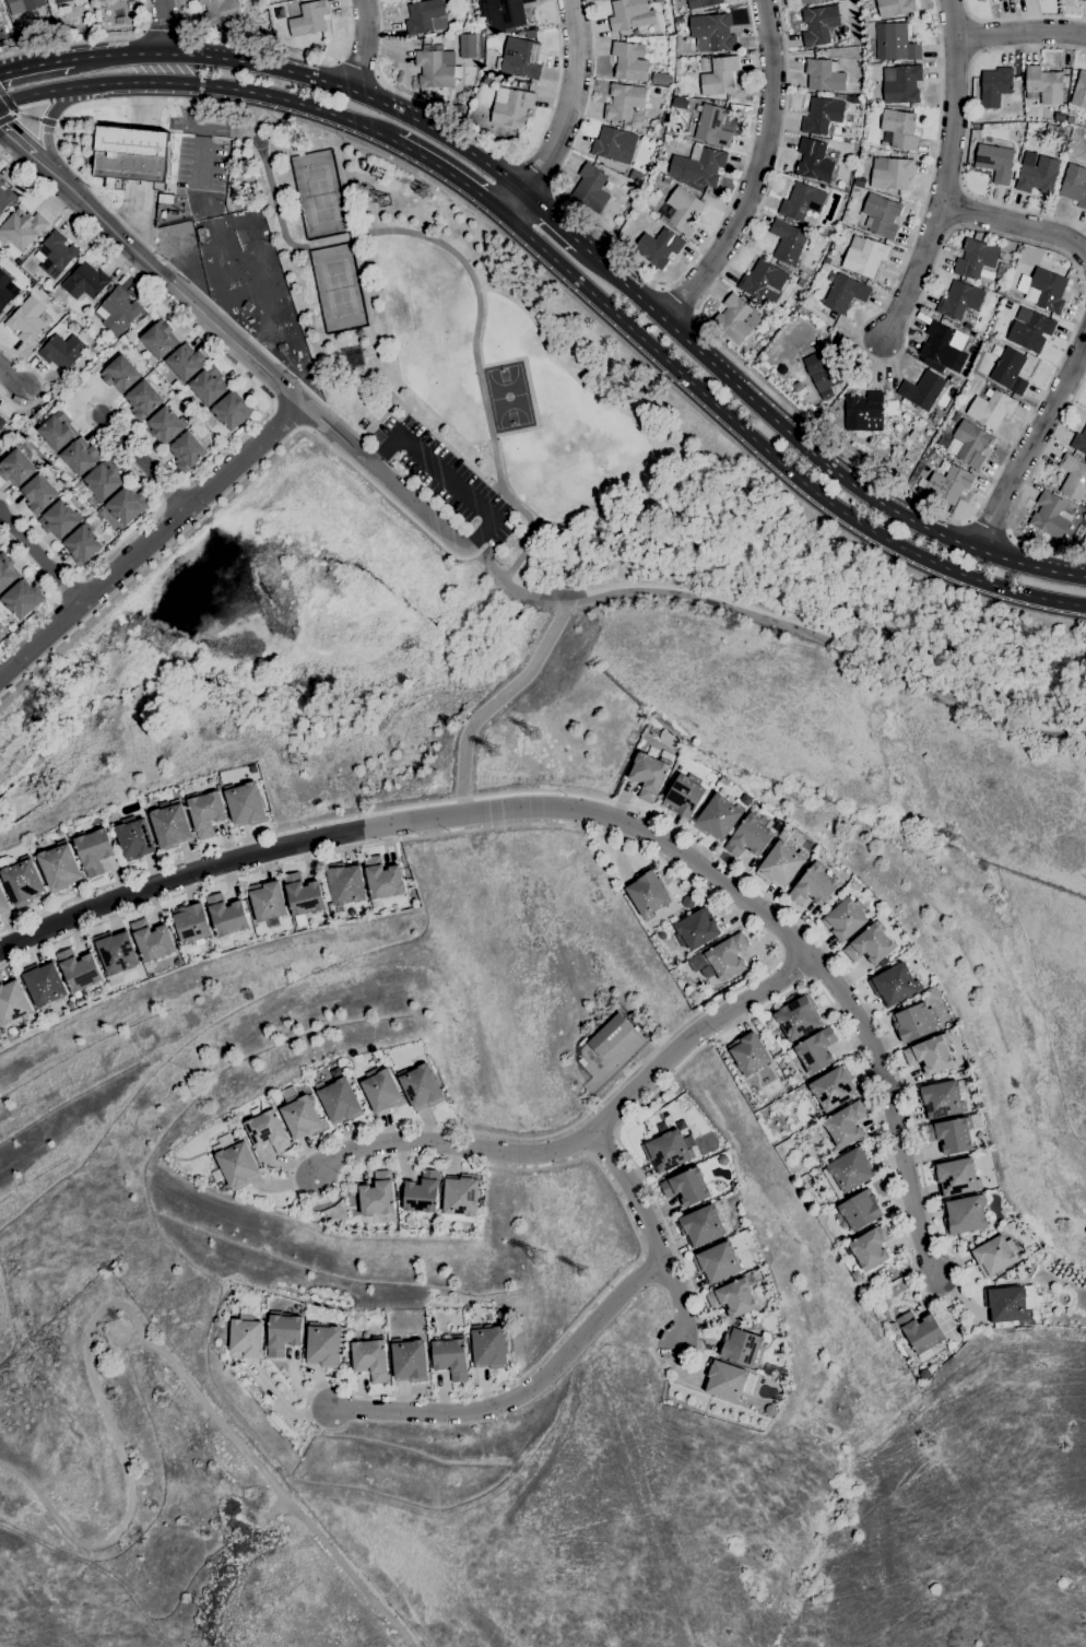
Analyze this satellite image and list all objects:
building: (972, 0)
building: (995, 0)
building: (999, 0)
building: (58, 1)
building: (658, 1)
building: (808, 1)
building: (1085, 1)
building: (23, 4)
building: (700, 4)
building: (894, 7)
building: (718, 11)
building: (220, 12)
building: (505, 12)
building: (629, 14)
building: (425, 16)
building: (0, 19)
building: (308, 19)
building: (864, 19)
road: (1019, 19)
building: (678, 20)
building: (818, 24)
road: (161, 26)
road: (163, 31)
building: (712, 33)
road: (1022, 35)
road: (86, 39)
building: (10, 40)
building: (895, 43)
road: (368, 46)
building: (467, 46)
building: (315, 48)
road: (275, 51)
building: (520, 58)
building: (869, 60)
building: (629, 61)
road: (35, 63)
road: (153, 68)
building: (436, 68)
building: (718, 75)
building: (823, 75)
road: (312, 79)
building: (658, 79)
building: (487, 81)
building: (900, 84)
road: (200, 85)
building: (1044, 85)
building: (994, 86)
building: (676, 91)
building: (1079, 91)
building: (839, 96)
building: (852, 99)
building: (623, 102)
building: (678, 103)
building: (719, 103)
road: (143, 106)
road: (960, 106)
building: (457, 107)
building: (510, 107)
road: (189, 110)
building: (822, 115)
road: (568, 117)
building: (1059, 117)
building: (1070, 119)
flagpole: (64, 122)
building: (711, 125)
road: (45, 127)
building: (899, 129)
road: (327, 130)
building: (1057, 130)
road: (967, 131)
road: (487, 144)
building: (614, 145)
building: (130, 154)
road: (198, 161)
building: (813, 161)
building: (994, 162)
building: (698, 166)
road: (756, 172)
building: (889, 173)
building: (1036, 174)
road: (534, 175)
building: (635, 175)
road: (449, 178)
building: (859, 181)
building: (672, 185)
building: (1074, 185)
building: (590, 188)
power tower: (424, 191)
park: (318, 193)
building: (5, 196)
power tower: (383, 201)
building: (801, 202)
building: (683, 211)
road: (133, 212)
building: (881, 215)
road: (552, 220)
road: (1016, 227)
building: (22, 228)
building: (202, 235)
building: (978, 235)
building: (787, 242)
building: (658, 247)
building: (1017, 249)
building: (55, 254)
building: (1020, 255)
building: (863, 256)
building: (975, 258)
building: (827, 259)
building: (17, 261)
road: (463, 263)
road: (920, 280)
building: (85, 282)
building: (730, 282)
road: (648, 283)
building: (763, 283)
building: (800, 283)
park: (338, 287)
building: (5, 290)
building: (1000, 290)
building: (1042, 290)
building: (810, 292)
building: (843, 294)
building: (959, 299)
road: (676, 303)
building: (1006, 304)
building: (246, 306)
building: (118, 309)
building: (0, 311)
building: (735, 318)
road: (180, 319)
building: (26, 320)
park: (406, 321)
building: (967, 326)
building: (1030, 329)
road: (234, 337)
building: (158, 339)
building: (990, 339)
building: (942, 344)
building: (281, 346)
building: (96, 348)
building: (61, 351)
building: (186, 362)
building: (942, 370)
building: (1010, 370)
building: (825, 372)
building: (120, 374)
road: (10, 378)
building: (358, 383)
road: (38, 385)
building: (208, 385)
building: (921, 390)
park: (507, 396)
building: (143, 400)
road: (1039, 400)
building: (990, 408)
building: (231, 410)
building: (863, 412)
building: (1, 422)
building: (164, 425)
building: (57, 431)
road: (1030, 440)
building: (1079, 442)
building: (968, 444)
road: (810, 449)
building: (187, 451)
road: (770, 451)
building: (80, 456)
road: (142, 462)
building: (16, 468)
parking lot: (449, 472)
building: (1073, 477)
road: (447, 478)
building: (103, 480)
road: (236, 482)
building: (948, 483)
road: (147, 489)
road: (1024, 490)
building: (38, 493)
building: (126, 506)
building: (1050, 515)
building: (58, 519)
road: (989, 528)
building: (1035, 536)
road: (153, 538)
building: (82, 544)
road: (39, 558)
road: (488, 558)
building: (5, 572)
road: (515, 587)
road: (51, 592)
road: (541, 597)
building: (22, 598)
road: (699, 598)
road: (869, 662)
road: (495, 702)
road: (989, 721)
power tower: (534, 736)
building: (673, 740)
power tower: (493, 754)
building: (253, 768)
building: (648, 775)
building: (684, 795)
building: (245, 803)
building: (205, 812)
building: (717, 817)
road: (417, 822)
building: (170, 825)
building: (134, 837)
building: (748, 837)
building: (94, 849)
building: (780, 864)
building: (59, 867)
building: (382, 878)
building: (23, 882)
building: (345, 883)
building: (813, 886)
building: (647, 893)
building: (303, 895)
building: (267, 901)
building: (3, 902)
building: (226, 915)
building: (845, 918)
building: (191, 924)
building: (696, 929)
building: (151, 940)
building: (870, 945)
building: (116, 954)
building: (720, 958)
building: (79, 969)
building: (43, 983)
building: (893, 985)
building: (94, 995)
building: (12, 1001)
building: (798, 1017)
building: (913, 1022)
building: (610, 1034)
road: (692, 1034)
building: (815, 1050)
building: (748, 1054)
building: (929, 1055)
building: (421, 1086)
building: (833, 1089)
building: (380, 1090)
building: (943, 1098)
building: (339, 1101)
road: (892, 1108)
building: (299, 1116)
road: (909, 1120)
building: (845, 1124)
building: (267, 1130)
building: (954, 1132)
road: (536, 1134)
road: (448, 1144)
building: (668, 1151)
building: (234, 1162)
building: (849, 1168)
building: (955, 1177)
building: (686, 1187)
building: (422, 1192)
building: (377, 1195)
building: (461, 1196)
building: (858, 1211)
building: (964, 1214)
building: (700, 1225)
road: (648, 1234)
building: (870, 1247)
building: (994, 1256)
power tower: (539, 1258)
building: (717, 1262)
power tower: (580, 1271)
building: (732, 1297)
building: (1005, 1305)
road: (133, 1317)
building: (920, 1331)
building: (283, 1332)
building: (245, 1337)
building: (323, 1345)
building: (740, 1345)
building: (488, 1346)
building: (450, 1356)
building: (370, 1358)
building: (410, 1361)
building: (723, 1380)
road: (519, 1395)
park: (168, 1514)

